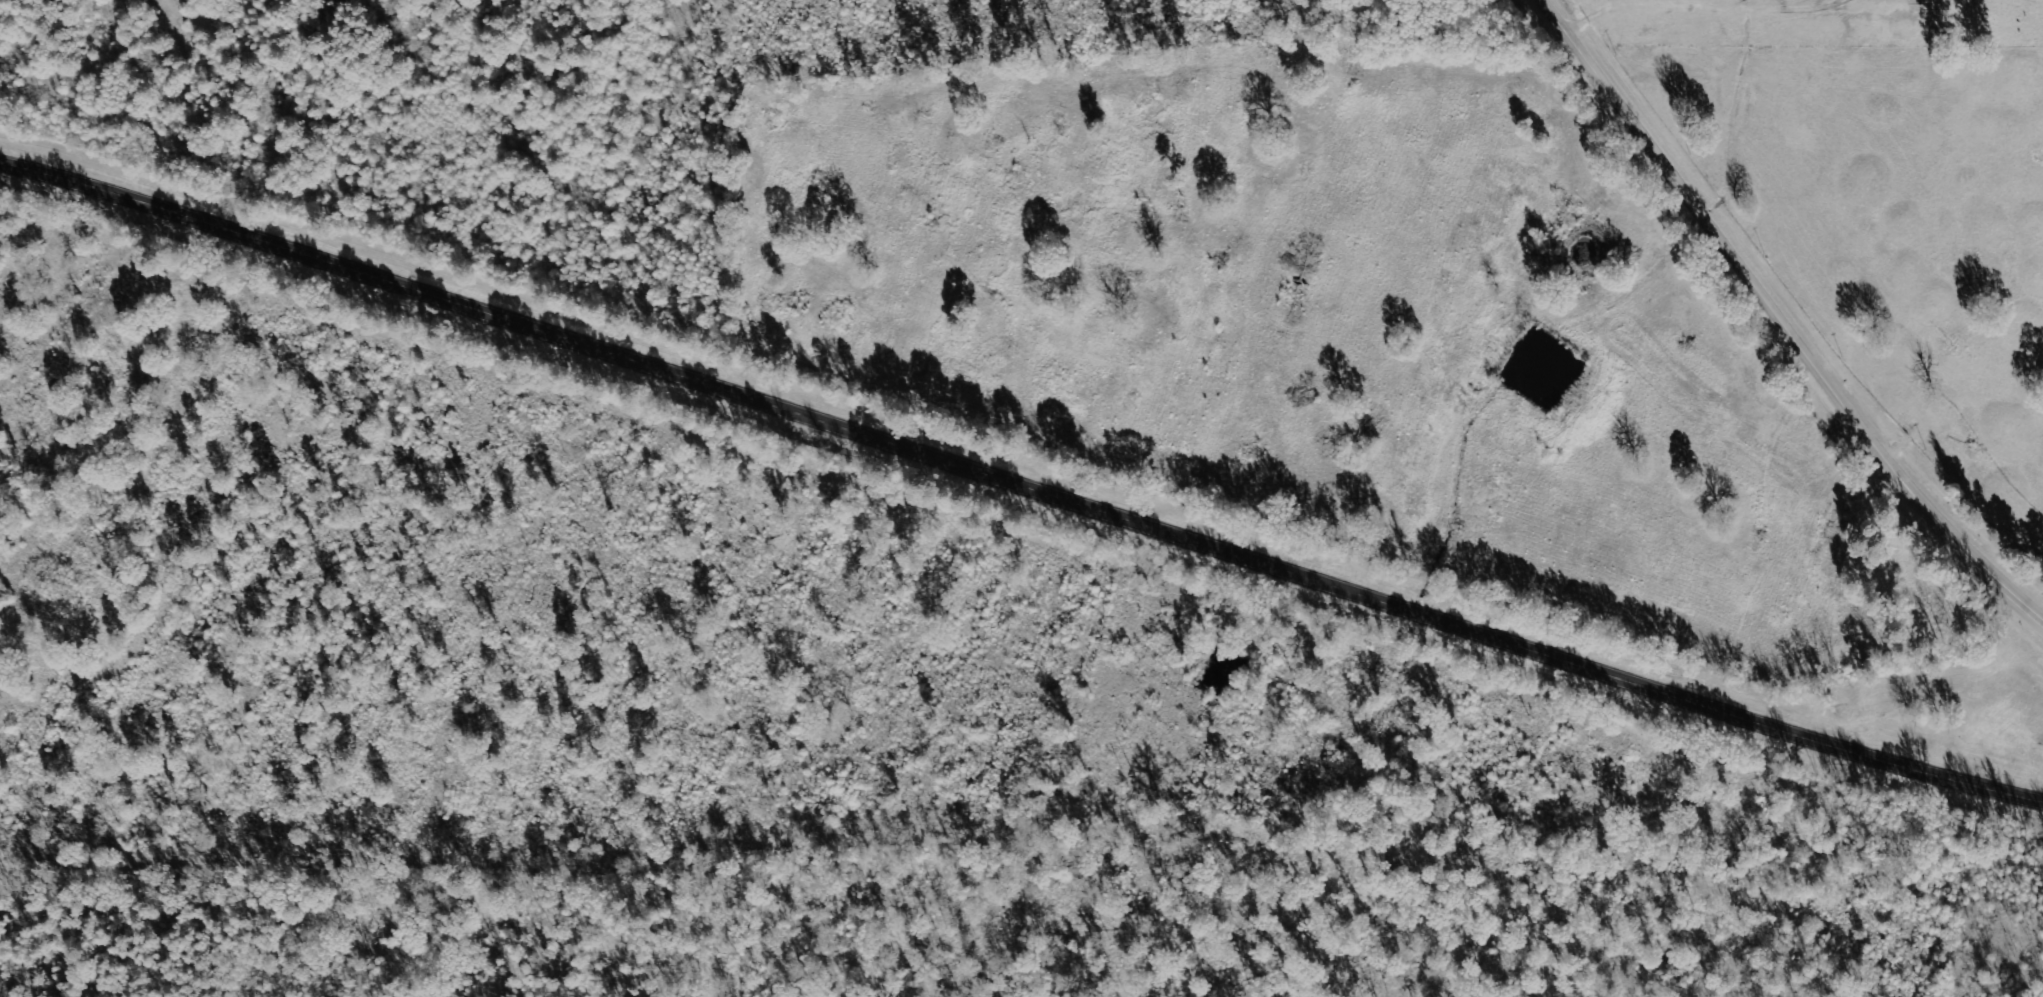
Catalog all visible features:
road: (1777, 324)
road: (1021, 483)

